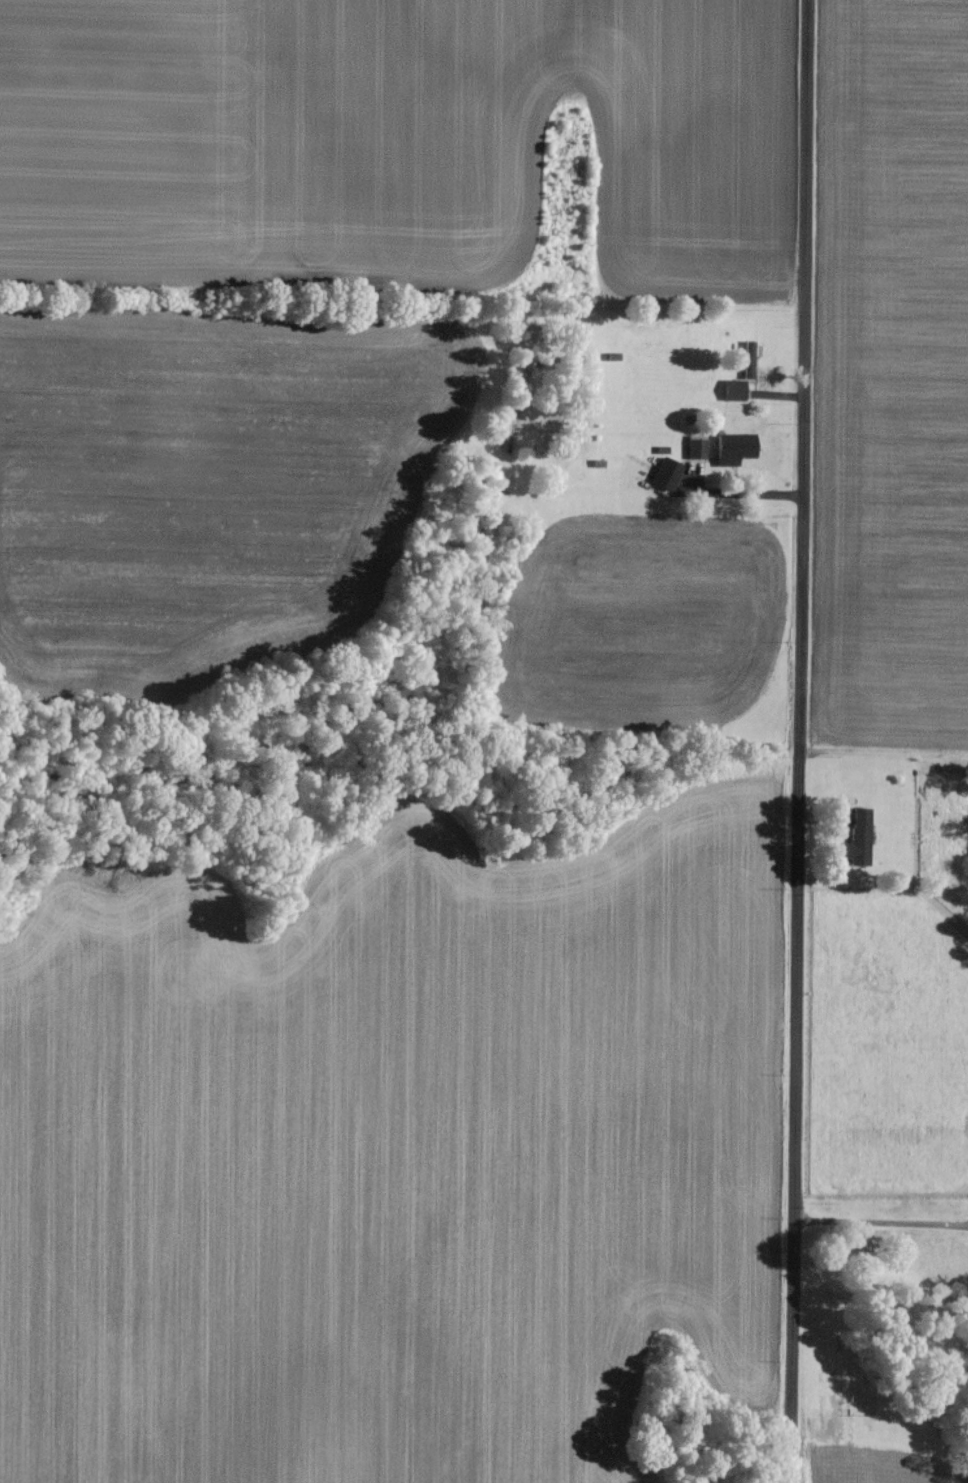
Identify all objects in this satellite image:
building: (736, 388)
building: (735, 446)
building: (668, 471)
road: (804, 741)
building: (861, 836)
road: (883, 1196)

